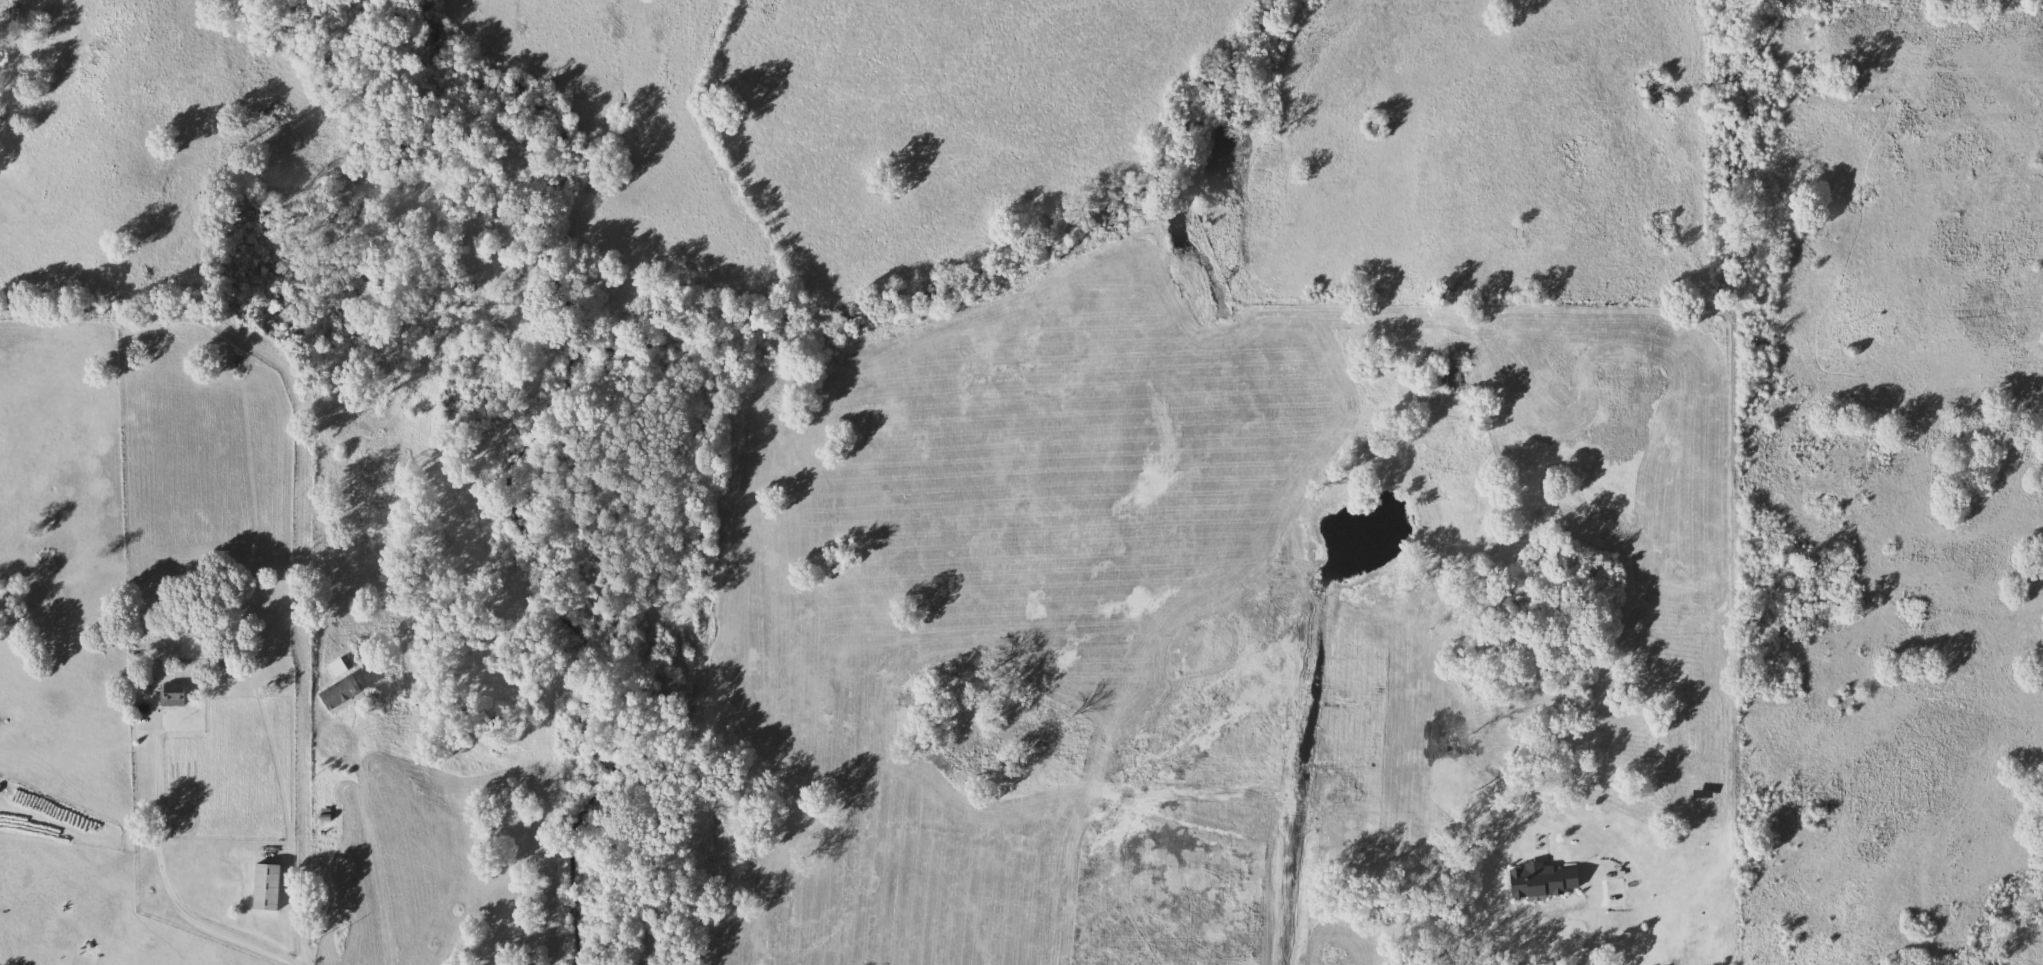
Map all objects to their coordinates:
building: (343, 692)
building: (175, 695)
road: (329, 724)
road: (379, 860)
road: (163, 877)
building: (269, 886)
road: (1589, 927)

